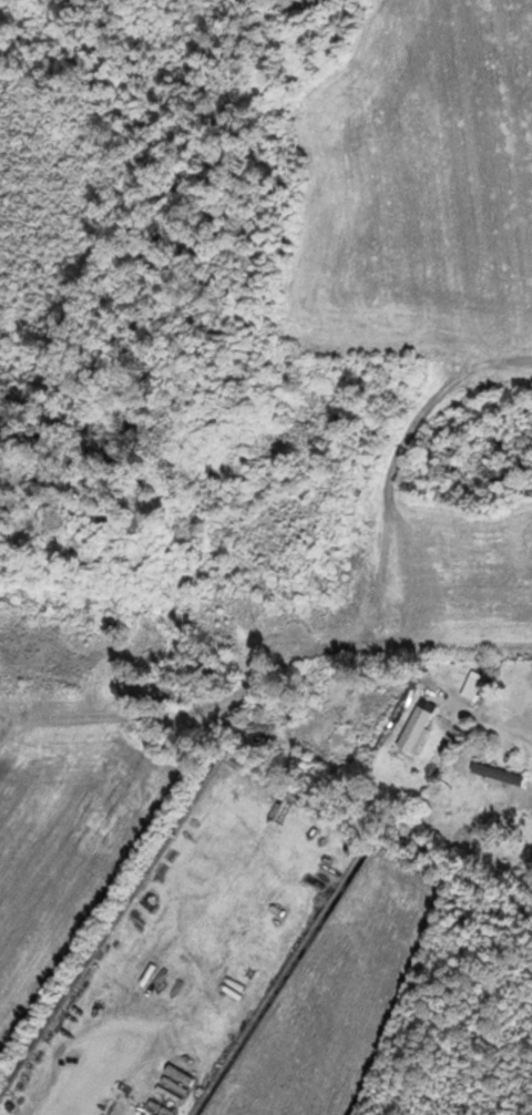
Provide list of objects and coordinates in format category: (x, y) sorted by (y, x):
building: (472, 685)
road: (121, 713)
road: (7, 715)
road: (489, 719)
building: (419, 725)
building: (262, 727)
building: (493, 770)

